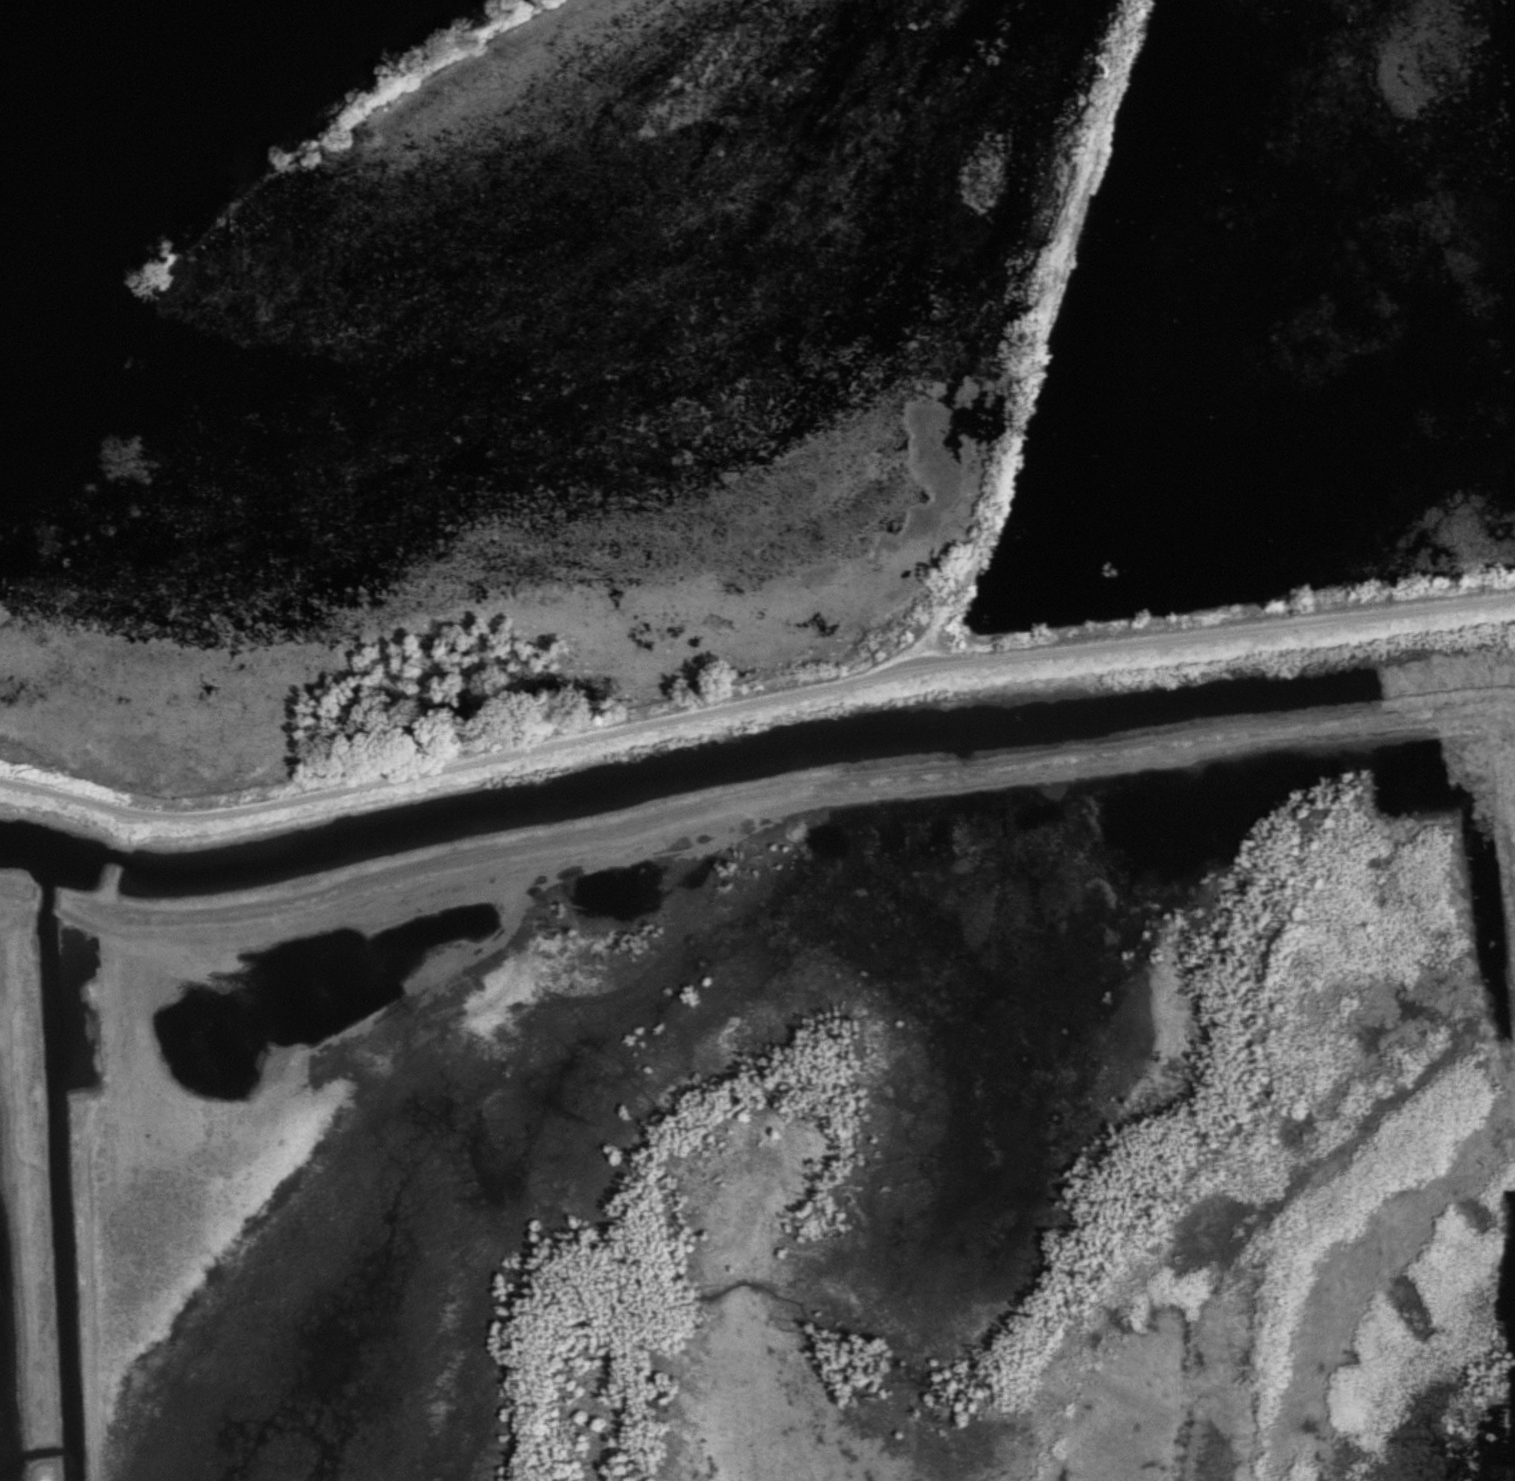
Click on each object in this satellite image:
road: (798, 691)

